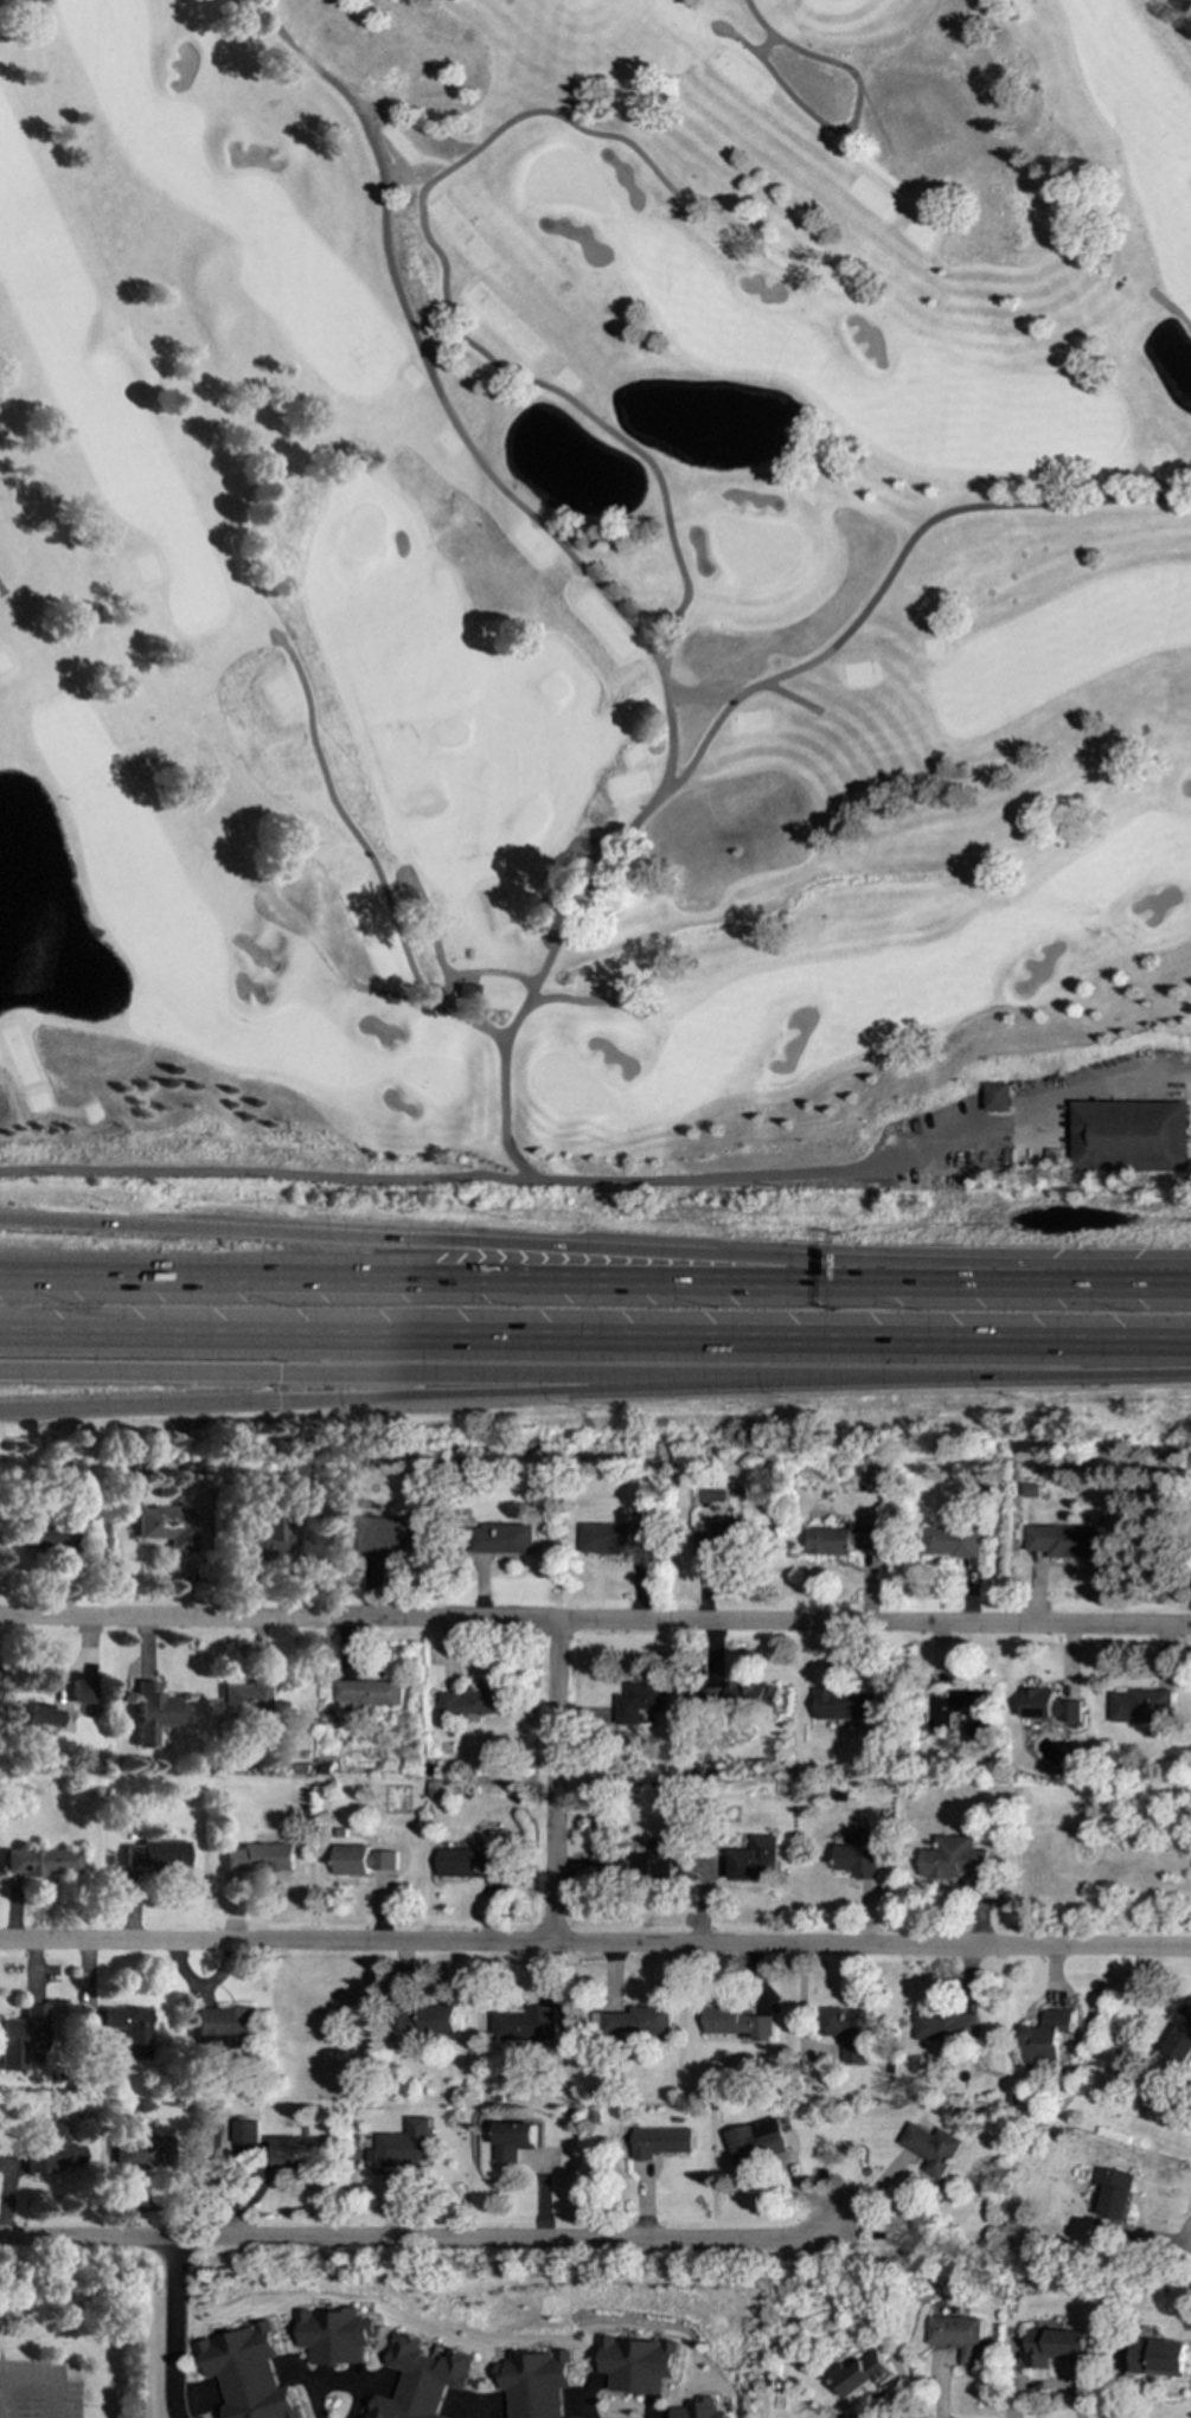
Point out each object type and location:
road: (399, 118)
road: (853, 118)
road: (448, 142)
road: (402, 165)
road: (1171, 310)
road: (453, 331)
road: (435, 342)
road: (446, 409)
road: (1153, 482)
road: (1, 588)
park: (595, 596)
road: (655, 624)
road: (702, 695)
road: (793, 698)
road: (728, 707)
road: (348, 821)
road: (436, 943)
road: (479, 970)
road: (363, 984)
building: (466, 989)
road: (581, 1000)
building: (1001, 1107)
road: (1042, 1109)
building: (1135, 1144)
road: (463, 1181)
road: (436, 1245)
road: (436, 1275)
road: (956, 1276)
road: (1115, 1278)
road: (595, 1339)
road: (139, 1370)
traffic signals: (278, 1372)
road: (494, 1373)
road: (950, 1378)
road: (494, 1392)
traffic signals: (278, 1400)
road: (139, 1404)
building: (167, 1526)
building: (263, 1533)
building: (389, 1533)
building: (47, 1535)
building: (617, 1538)
building: (501, 1539)
building: (722, 1539)
building: (841, 1540)
building: (953, 1541)
building: (1062, 1541)
road: (595, 1623)
building: (79, 1689)
building: (370, 1693)
building: (742, 1695)
building: (244, 1699)
building: (473, 1701)
building: (638, 1702)
building: (846, 1705)
building: (1139, 1705)
building: (1051, 1707)
building: (153, 1712)
building: (31, 1718)
building: (941, 1720)
road: (555, 1783)
building: (155, 1854)
building: (860, 1854)
building: (260, 1858)
building: (756, 1859)
building: (361, 1860)
building: (40, 1861)
building: (653, 1861)
building: (955, 1861)
building: (467, 1862)
road: (595, 1944)
building: (429, 2020)
building: (638, 2022)
building: (526, 2025)
building: (737, 2025)
building: (223, 2027)
building: (129, 2028)
building: (947, 2028)
building: (849, 2033)
building: (21, 2035)
building: (1182, 2037)
building: (1051, 2039)
building: (245, 2135)
building: (514, 2140)
building: (661, 2142)
building: (758, 2142)
building: (403, 2146)
building: (934, 2148)
building: (51, 2150)
building: (297, 2151)
building: (1115, 2193)
road: (423, 2239)
road: (172, 2328)
building: (331, 2336)
building: (956, 2336)
building: (1056, 2347)
building: (1158, 2359)
building: (625, 2365)
building: (245, 2373)
building: (858, 2373)
building: (415, 2380)
building: (524, 2382)
road: (41, 2384)
building: (685, 2410)
road: (577, 2416)

